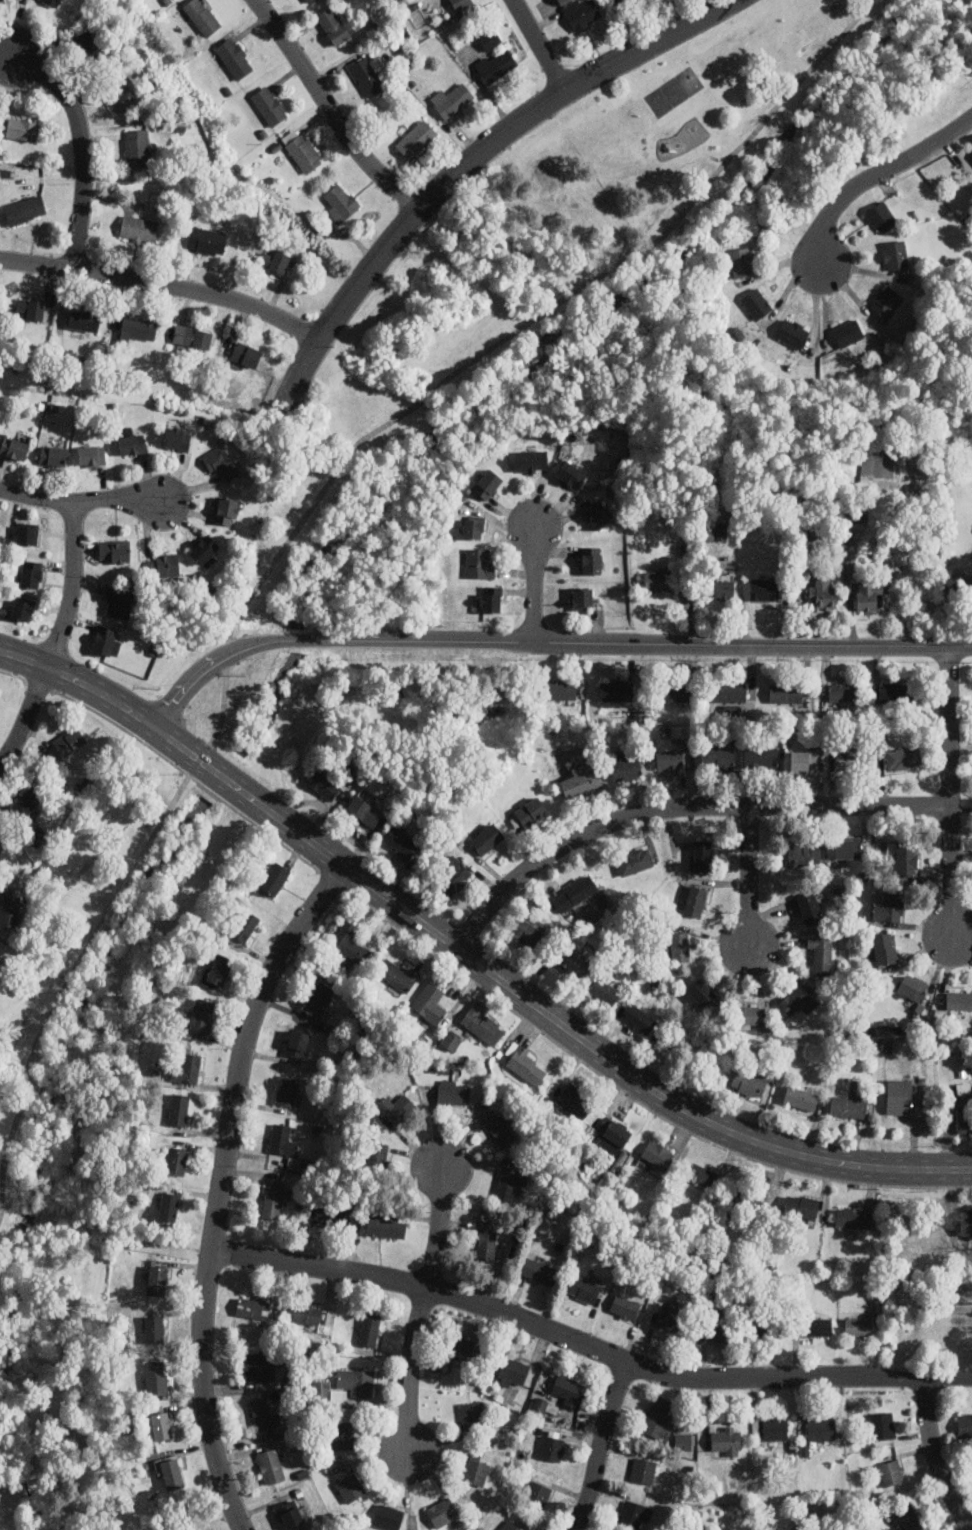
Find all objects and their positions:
building: (0, 0)
building: (307, 1)
building: (624, 1)
building: (53, 2)
building: (461, 4)
building: (580, 13)
building: (202, 16)
building: (334, 26)
building: (489, 39)
road: (538, 44)
building: (88, 46)
building: (234, 57)
building: (496, 65)
building: (367, 75)
park: (673, 91)
building: (120, 96)
building: (453, 101)
building: (269, 105)
road: (329, 108)
building: (22, 128)
building: (416, 138)
building: (137, 146)
road: (80, 149)
building: (302, 149)
building: (971, 155)
building: (971, 157)
road: (467, 161)
road: (876, 178)
building: (341, 202)
building: (24, 209)
building: (881, 216)
building: (139, 228)
building: (208, 240)
building: (895, 254)
building: (275, 260)
building: (742, 261)
road: (161, 285)
park: (569, 294)
building: (886, 300)
building: (756, 303)
building: (32, 308)
building: (84, 319)
building: (139, 328)
building: (792, 332)
building: (848, 332)
building: (192, 336)
building: (246, 353)
building: (177, 437)
building: (132, 443)
building: (14, 448)
building: (54, 455)
building: (91, 455)
building: (531, 461)
building: (221, 462)
building: (571, 474)
building: (488, 483)
road: (81, 501)
building: (227, 510)
building: (859, 512)
building: (599, 514)
road: (305, 520)
building: (473, 527)
building: (715, 531)
building: (28, 533)
building: (204, 549)
building: (114, 552)
building: (591, 560)
building: (480, 563)
building: (165, 565)
building: (32, 573)
building: (659, 578)
road: (532, 582)
building: (764, 588)
building: (725, 589)
building: (823, 593)
building: (869, 596)
building: (582, 597)
building: (491, 598)
building: (118, 602)
building: (22, 609)
road: (61, 638)
building: (104, 639)
road: (544, 641)
building: (559, 689)
building: (615, 690)
building: (842, 691)
building: (676, 692)
building: (729, 692)
building: (898, 692)
building: (786, 693)
building: (732, 709)
building: (639, 713)
building: (70, 741)
building: (761, 756)
building: (717, 757)
building: (903, 757)
building: (670, 758)
building: (852, 758)
building: (803, 759)
building: (626, 766)
building: (578, 779)
building: (324, 785)
road: (947, 793)
building: (28, 800)
road: (676, 806)
building: (364, 810)
building: (531, 811)
building: (0, 831)
building: (35, 835)
building: (487, 837)
building: (1, 838)
building: (401, 840)
building: (848, 846)
building: (808, 853)
building: (702, 855)
building: (907, 857)
building: (634, 860)
building: (454, 875)
road: (749, 876)
building: (274, 878)
building: (575, 892)
building: (696, 901)
building: (888, 905)
building: (810, 907)
building: (9, 910)
building: (245, 925)
building: (526, 931)
building: (349, 942)
building: (676, 947)
building: (885, 947)
building: (821, 954)
road: (468, 956)
building: (571, 961)
building: (219, 968)
building: (398, 975)
building: (912, 985)
building: (605, 990)
building: (702, 992)
building: (319, 999)
building: (797, 1000)
building: (959, 1000)
building: (430, 1002)
building: (201, 1014)
building: (638, 1016)
building: (747, 1016)
building: (483, 1024)
building: (451, 1040)
building: (298, 1043)
building: (526, 1063)
building: (188, 1069)
building: (750, 1082)
building: (288, 1090)
building: (453, 1093)
building: (898, 1096)
building: (801, 1098)
building: (574, 1101)
building: (848, 1105)
building: (395, 1107)
building: (179, 1108)
building: (965, 1121)
park: (63, 1122)
building: (501, 1128)
building: (613, 1135)
building: (283, 1139)
building: (378, 1154)
building: (657, 1157)
building: (177, 1160)
building: (701, 1174)
building: (508, 1183)
road: (221, 1186)
building: (749, 1196)
building: (272, 1201)
building: (169, 1206)
building: (801, 1206)
building: (328, 1216)
building: (853, 1218)
road: (9, 1221)
building: (966, 1222)
road: (438, 1224)
road: (29, 1225)
building: (386, 1227)
road: (125, 1235)
building: (486, 1241)
building: (540, 1270)
building: (157, 1278)
building: (583, 1288)
building: (252, 1307)
building: (625, 1307)
building: (307, 1313)
building: (672, 1319)
building: (858, 1325)
building: (816, 1326)
building: (768, 1327)
building: (156, 1328)
building: (369, 1329)
building: (718, 1331)
road: (587, 1345)
building: (461, 1348)
building: (258, 1367)
road: (410, 1368)
building: (512, 1371)
building: (156, 1376)
building: (356, 1381)
road: (53, 1383)
building: (322, 1390)
building: (570, 1390)
building: (538, 1406)
building: (261, 1412)
building: (472, 1415)
building: (658, 1418)
building: (964, 1424)
building: (161, 1425)
building: (882, 1425)
building: (775, 1427)
building: (822, 1427)
building: (343, 1434)
building: (727, 1440)
building: (685, 1441)
building: (552, 1445)
road: (602, 1446)
road: (936, 1457)
building: (271, 1465)
building: (476, 1469)
building: (643, 1469)
building: (891, 1471)
building: (172, 1473)
building: (350, 1486)
building: (538, 1493)
building: (443, 1512)
building: (634, 1513)
building: (289, 1514)
building: (388, 1516)
building: (909, 1518)
building: (509, 1525)

